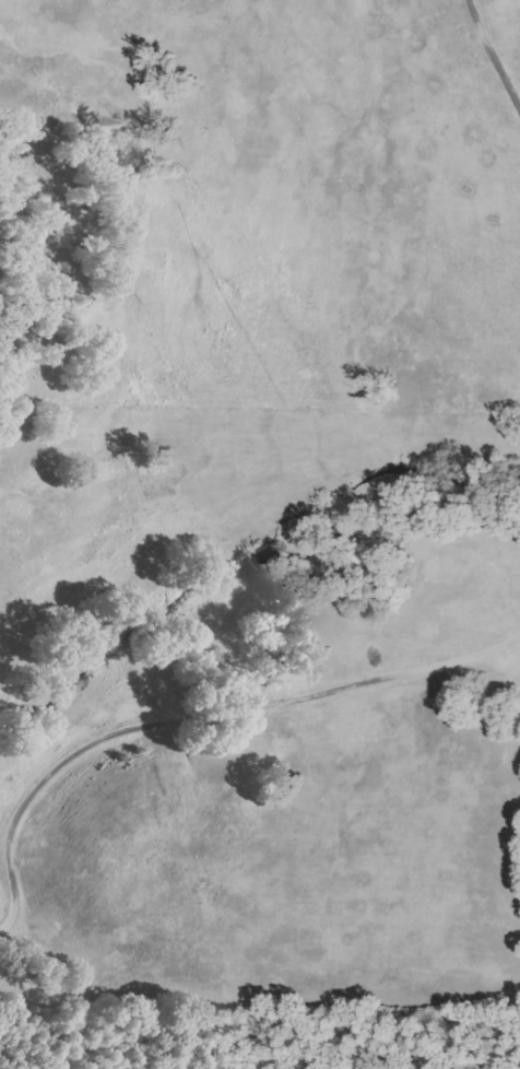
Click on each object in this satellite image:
road: (197, 718)

